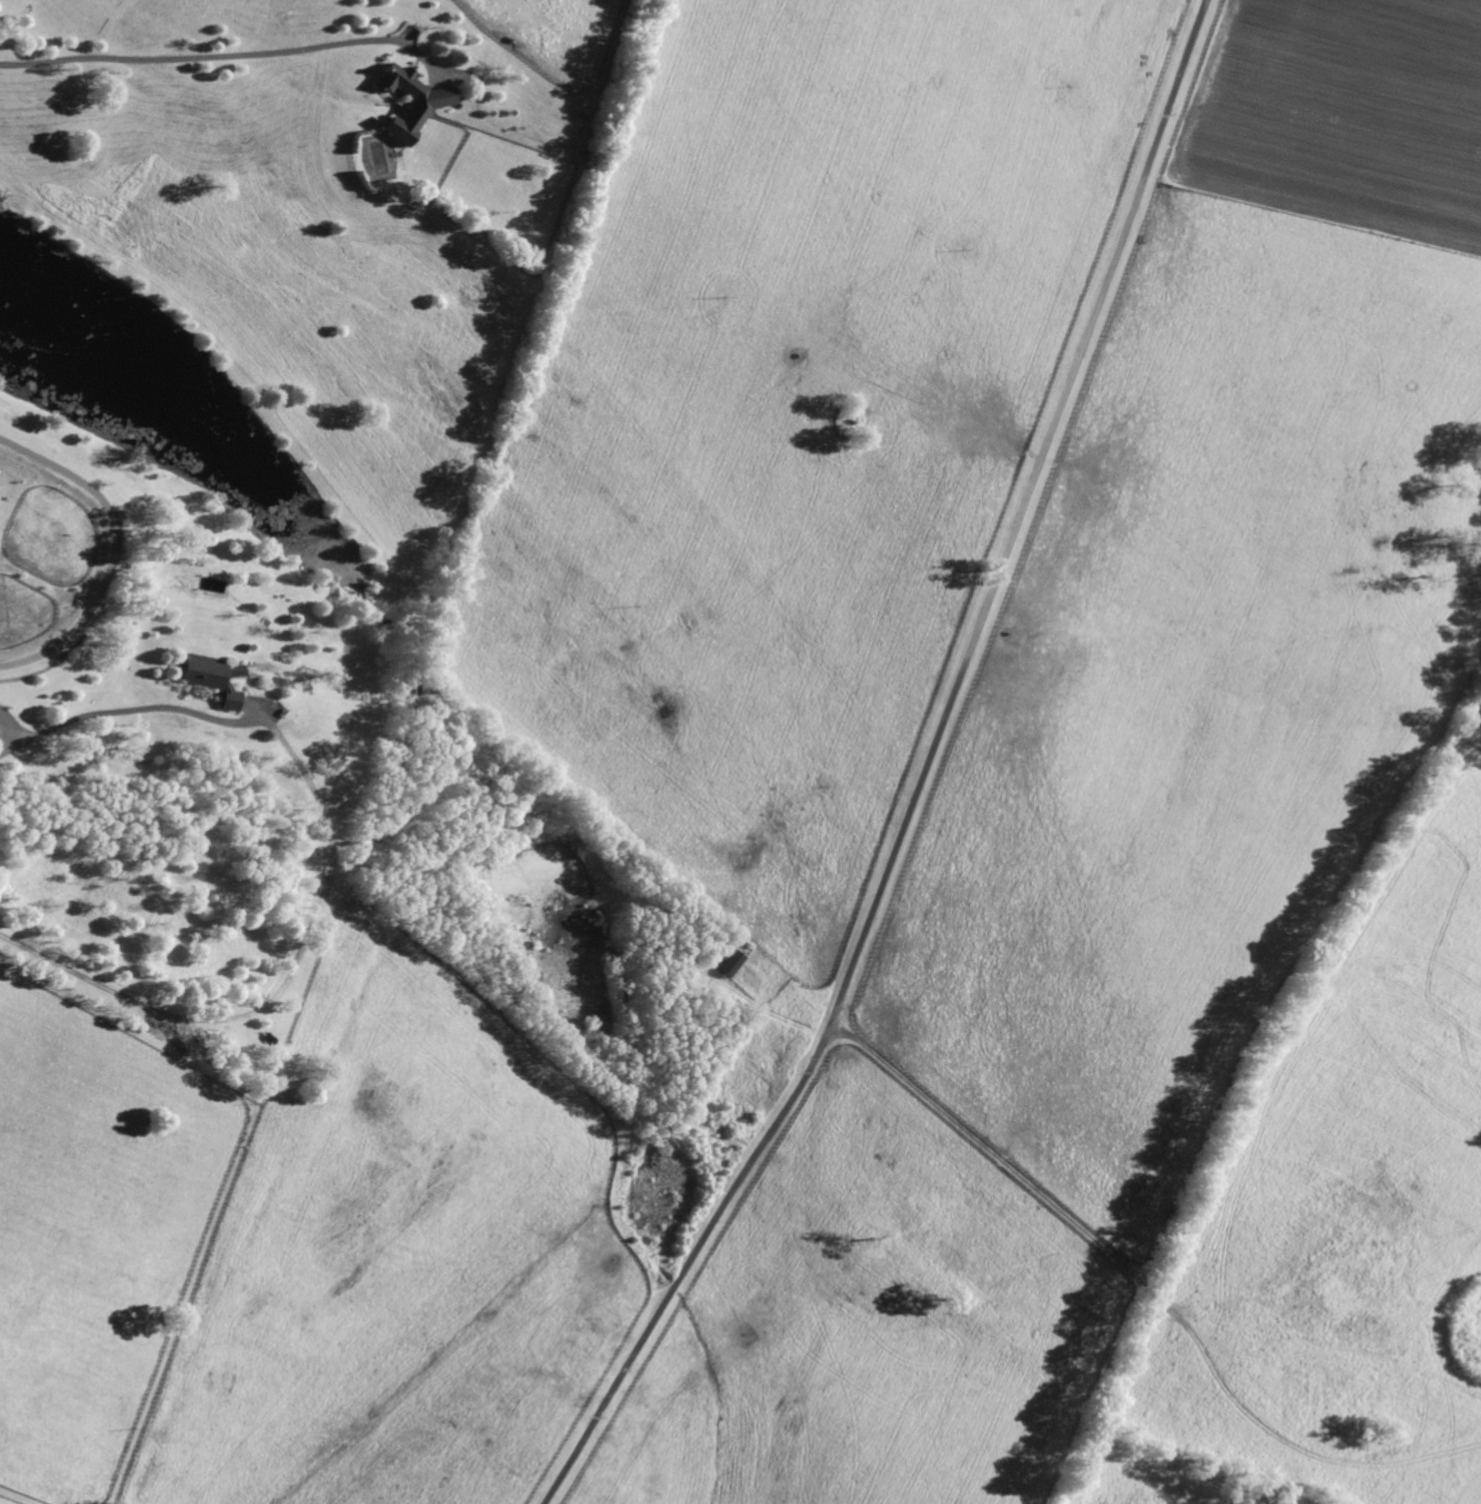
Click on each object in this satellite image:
road: (207, 56)
building: (413, 99)
building: (209, 676)
road: (130, 714)
road: (4, 749)
road: (922, 775)
building: (733, 962)
road: (278, 991)

